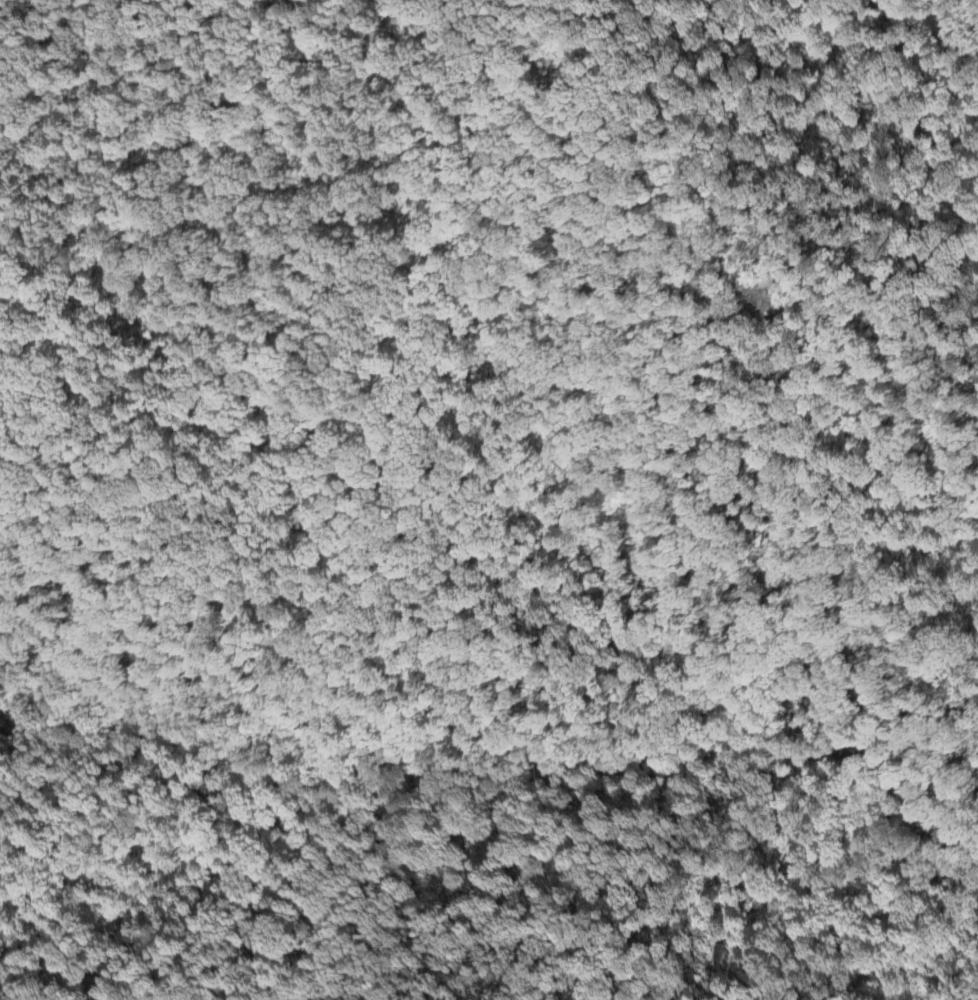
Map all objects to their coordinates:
road: (635, 375)
road: (85, 910)

